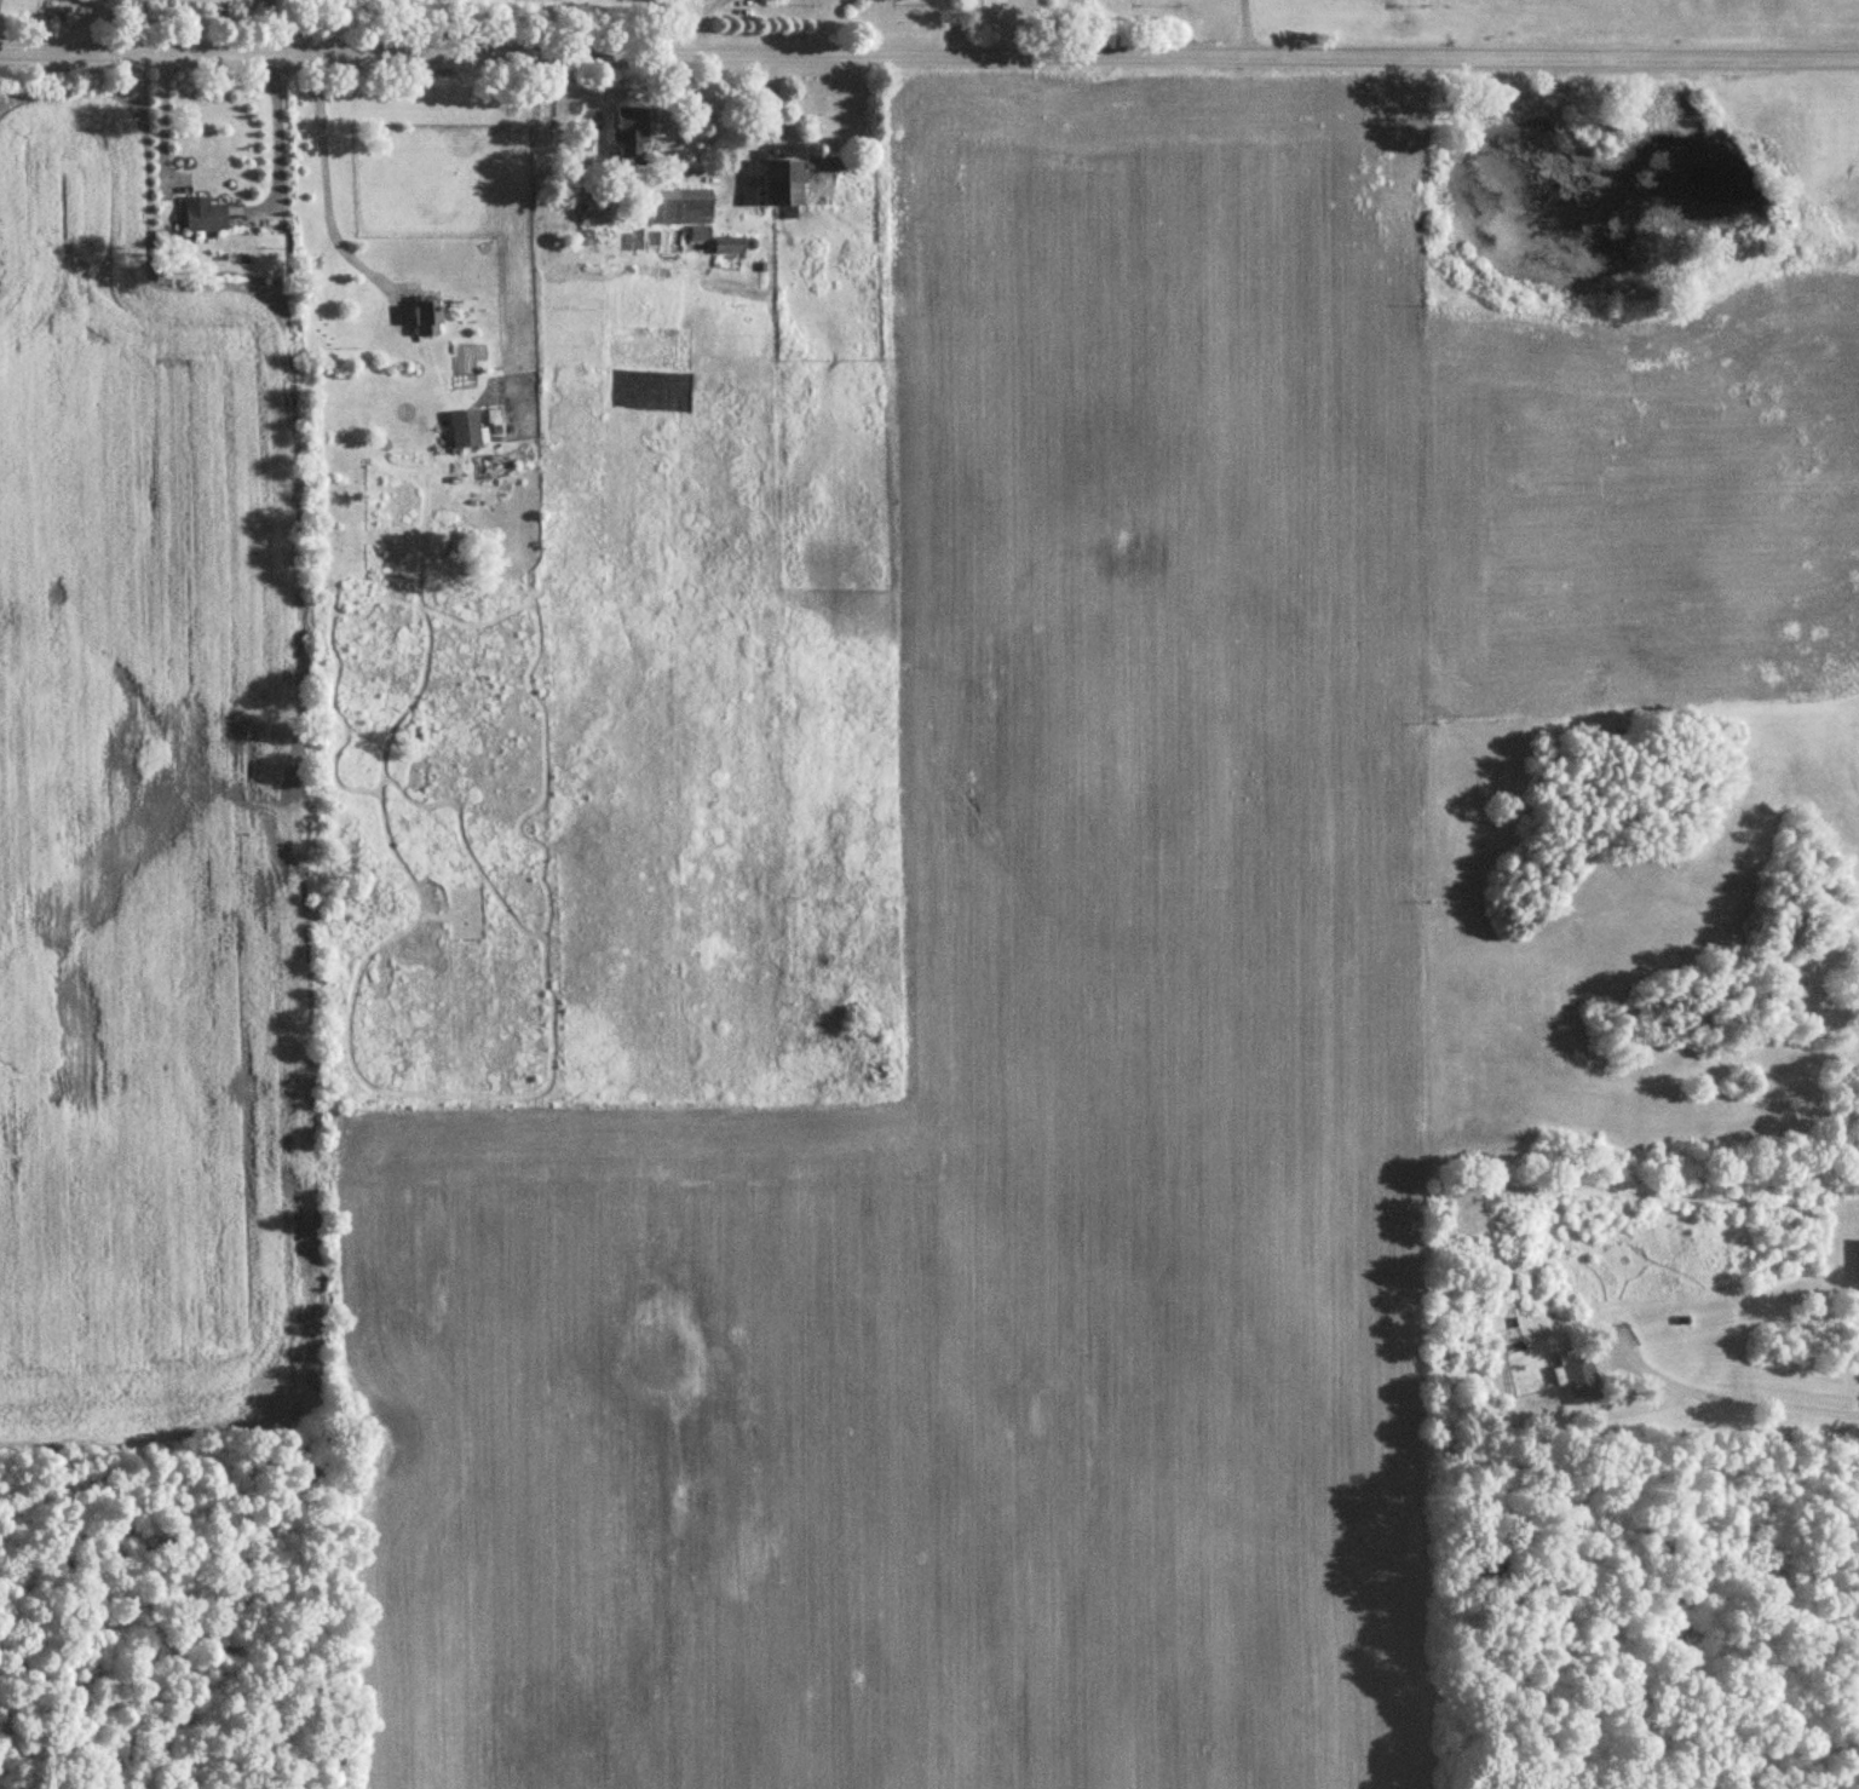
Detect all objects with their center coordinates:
building: (880, 0)
road: (82, 8)
road: (82, 24)
road: (1072, 28)
road: (1249, 29)
road: (928, 56)
road: (160, 120)
road: (280, 125)
building: (631, 134)
road: (746, 139)
road: (324, 183)
building: (782, 186)
building: (679, 208)
building: (205, 215)
building: (700, 236)
building: (727, 247)
building: (426, 317)
building: (465, 430)
building: (1581, 1375)
road: (1733, 1393)

